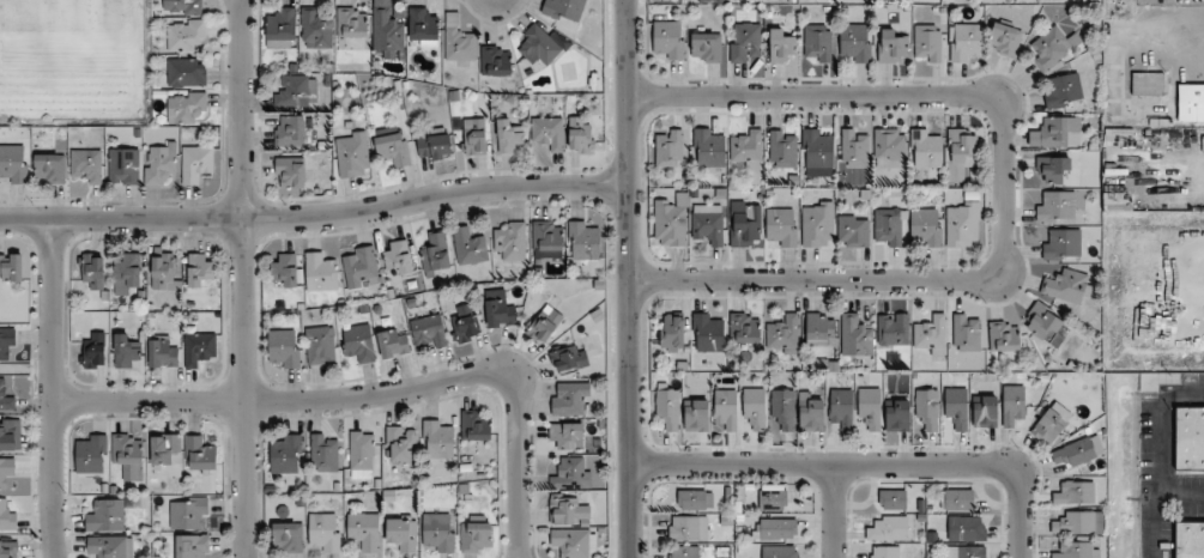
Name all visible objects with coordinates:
building: (182, 7)
building: (565, 10)
building: (351, 23)
building: (280, 26)
building: (423, 26)
building: (316, 28)
building: (388, 32)
building: (186, 35)
building: (670, 38)
building: (1004, 40)
building: (458, 41)
building: (744, 41)
building: (818, 42)
building: (854, 43)
building: (927, 43)
building: (966, 43)
building: (538, 46)
building: (706, 47)
building: (782, 47)
building: (891, 47)
building: (1053, 48)
building: (495, 60)
building: (187, 72)
building: (1148, 83)
building: (295, 90)
building: (1064, 90)
building: (1191, 102)
building: (186, 105)
building: (290, 131)
building: (547, 132)
building: (1057, 132)
building: (580, 134)
building: (476, 137)
building: (508, 137)
building: (435, 145)
building: (668, 147)
building: (709, 147)
building: (855, 147)
building: (889, 147)
building: (926, 147)
building: (393, 148)
building: (782, 148)
building: (817, 152)
building: (961, 152)
building: (352, 153)
building: (748, 153)
building: (159, 162)
building: (195, 163)
building: (13, 164)
building: (86, 165)
building: (123, 165)
building: (50, 168)
building: (1054, 169)
building: (291, 171)
road: (1003, 188)
building: (1055, 206)
road: (315, 217)
building: (671, 222)
building: (745, 223)
building: (817, 224)
building: (963, 224)
building: (927, 225)
building: (708, 226)
building: (888, 226)
building: (782, 228)
building: (853, 230)
building: (547, 235)
building: (510, 239)
building: (583, 241)
building: (1061, 243)
building: (470, 245)
building: (398, 255)
building: (436, 256)
building: (11, 266)
building: (361, 267)
building: (286, 268)
building: (92, 269)
building: (163, 269)
building: (200, 269)
building: (127, 272)
building: (321, 272)
road: (244, 278)
road: (629, 278)
building: (1069, 286)
building: (501, 313)
building: (547, 323)
building: (465, 325)
building: (1045, 325)
building: (745, 328)
building: (819, 328)
building: (893, 328)
building: (429, 332)
building: (708, 332)
building: (966, 332)
building: (672, 333)
building: (855, 335)
building: (932, 335)
building: (1004, 335)
building: (358, 341)
building: (394, 342)
building: (7, 344)
building: (320, 345)
building: (284, 346)
building: (199, 347)
building: (95, 351)
building: (126, 352)
building: (162, 352)
building: (569, 358)
road: (53, 389)
road: (376, 396)
building: (5, 399)
building: (570, 399)
building: (1014, 404)
building: (667, 407)
building: (726, 407)
building: (755, 407)
building: (783, 407)
building: (870, 407)
building: (927, 407)
building: (957, 407)
building: (840, 408)
building: (985, 411)
building: (810, 413)
building: (696, 414)
building: (897, 416)
building: (476, 425)
building: (1048, 426)
building: (10, 435)
building: (567, 436)
building: (1188, 438)
building: (437, 439)
building: (401, 444)
building: (165, 448)
building: (325, 451)
building: (90, 453)
building: (285, 453)
building: (1075, 453)
building: (199, 454)
building: (362, 454)
building: (128, 455)
road: (1158, 457)
road: (869, 465)
building: (6, 469)
building: (570, 473)
building: (1075, 493)
building: (773, 496)
road: (1181, 497)
building: (695, 499)
building: (893, 499)
building: (957, 499)
building: (568, 510)
road: (834, 511)
building: (188, 512)
building: (107, 515)
building: (7, 516)
building: (1075, 522)
building: (688, 528)
building: (966, 528)
building: (774, 529)
building: (891, 529)
building: (364, 530)
building: (438, 530)
building: (323, 532)
building: (403, 532)
building: (476, 534)
building: (288, 536)
building: (1190, 540)
building: (574, 542)
building: (110, 546)
building: (192, 546)
building: (10, 548)
building: (1078, 550)
building: (780, 551)
building: (684, 552)
building: (884, 552)
building: (964, 552)

